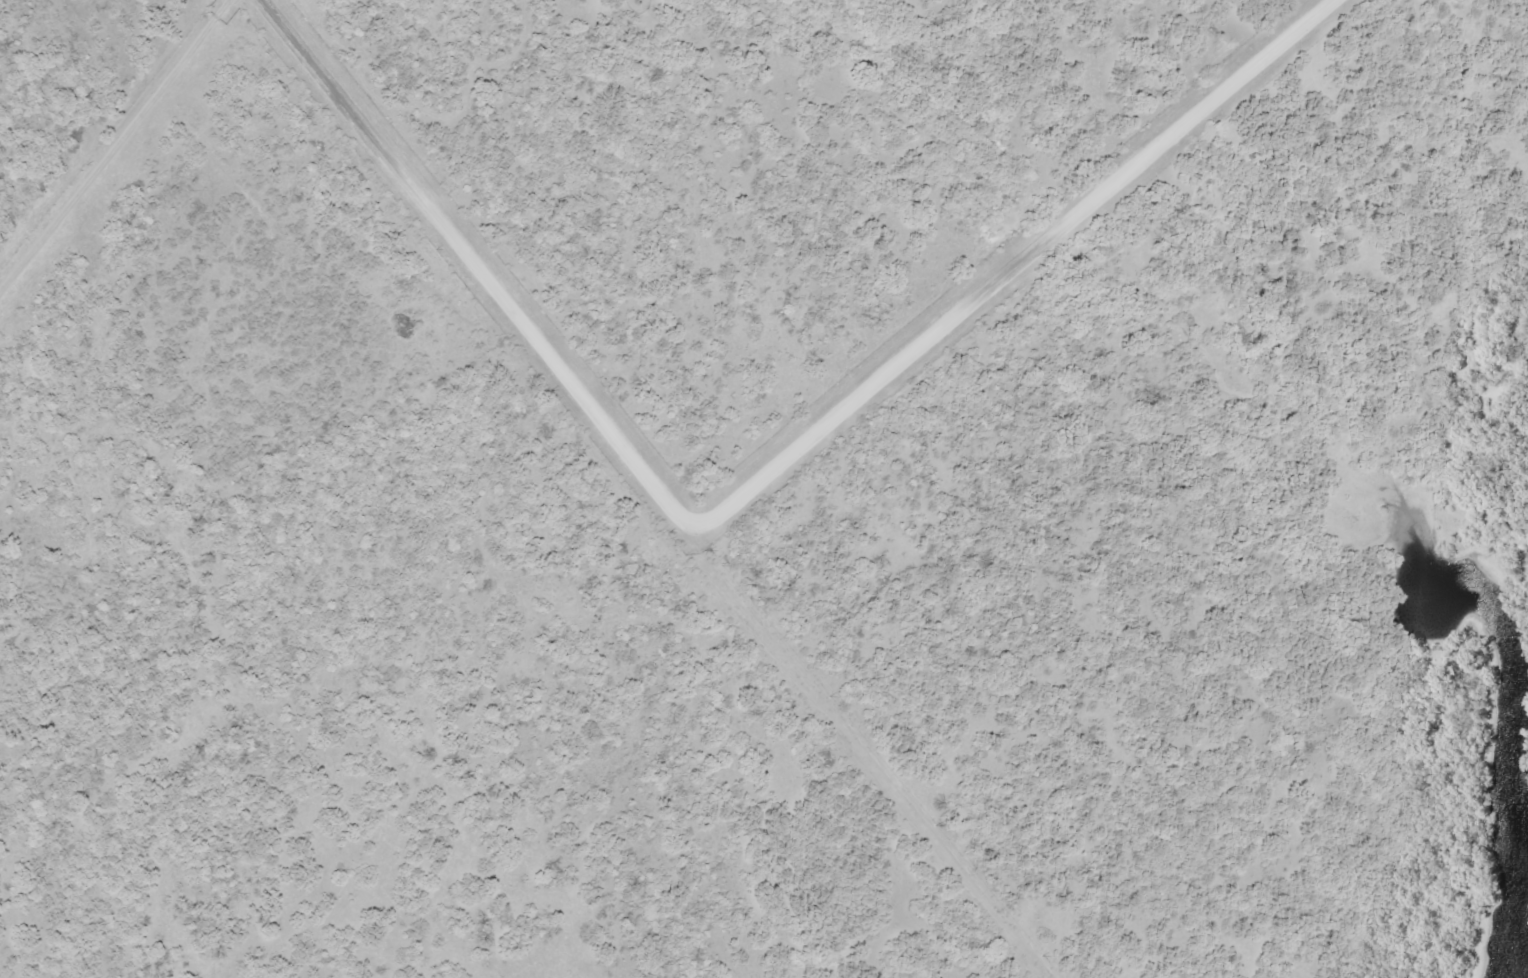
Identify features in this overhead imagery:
road: (757, 485)

